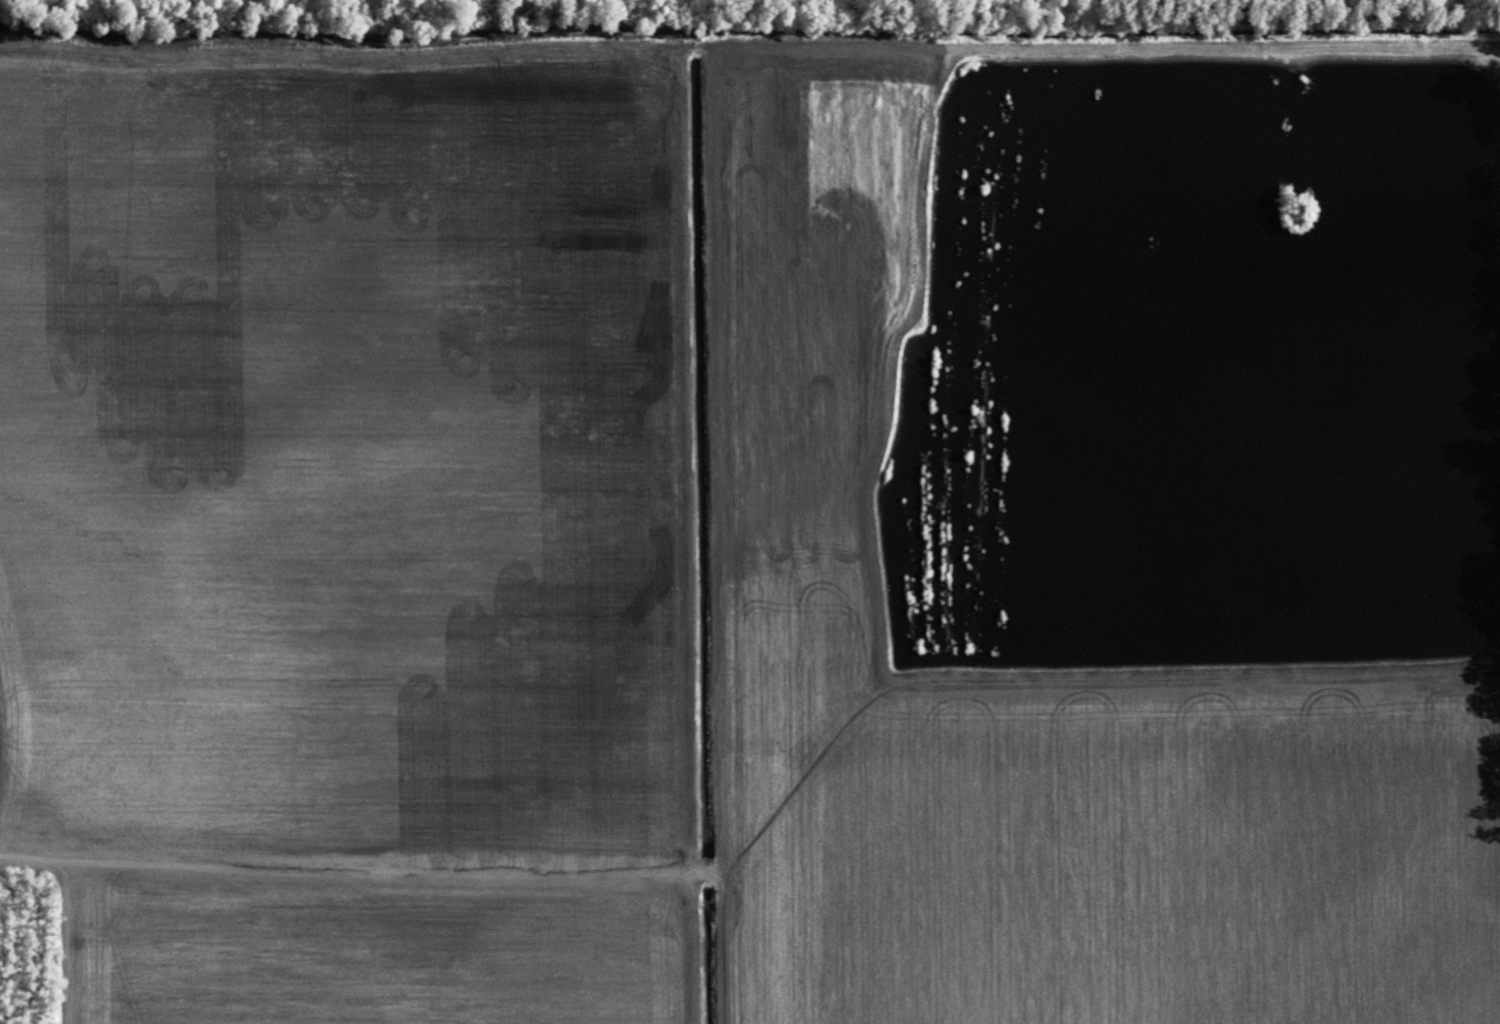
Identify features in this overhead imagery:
park: (1496, 12)

